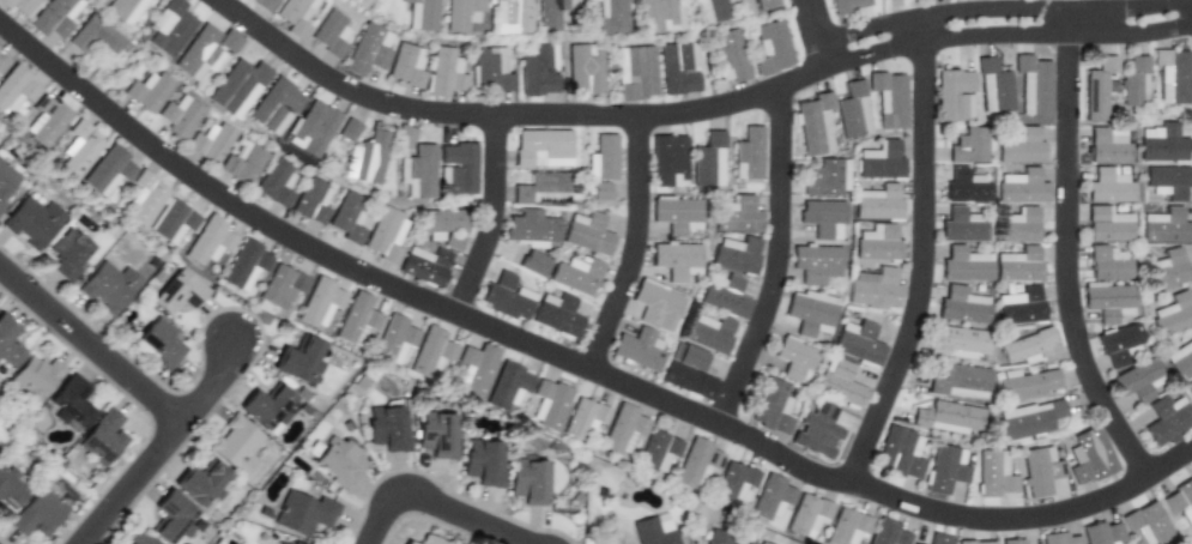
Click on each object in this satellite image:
building: (99, 0)
building: (374, 0)
road: (1100, 1)
building: (357, 2)
building: (262, 4)
building: (18, 5)
building: (754, 5)
building: (847, 5)
road: (984, 5)
building: (123, 10)
building: (707, 10)
building: (458, 13)
building: (417, 14)
building: (550, 14)
building: (294, 16)
building: (508, 16)
building: (607, 16)
building: (658, 16)
building: (54, 17)
building: (169, 26)
road: (817, 26)
building: (328, 34)
building: (95, 36)
road: (1008, 41)
building: (770, 47)
building: (365, 49)
building: (204, 52)
building: (2, 61)
building: (405, 65)
building: (677, 67)
building: (489, 69)
building: (536, 69)
building: (583, 69)
building: (443, 72)
building: (634, 72)
building: (1172, 75)
building: (1134, 80)
building: (1034, 84)
building: (236, 86)
building: (993, 86)
building: (1099, 87)
building: (16, 89)
building: (145, 90)
building: (955, 95)
building: (889, 99)
building: (274, 105)
building: (853, 111)
road: (515, 115)
building: (177, 116)
building: (44, 120)
building: (815, 123)
building: (310, 128)
building: (346, 129)
building: (403, 135)
building: (210, 141)
building: (1162, 143)
building: (1107, 145)
building: (968, 146)
building: (1021, 146)
building: (541, 147)
building: (78, 149)
building: (749, 153)
building: (364, 158)
building: (601, 158)
building: (667, 161)
building: (708, 161)
building: (881, 161)
building: (242, 163)
building: (458, 167)
building: (105, 170)
building: (827, 177)
building: (6, 180)
building: (1168, 181)
building: (274, 182)
building: (966, 186)
building: (1108, 186)
building: (1022, 187)
building: (540, 188)
building: (599, 191)
building: (144, 198)
building: (310, 201)
building: (877, 203)
building: (736, 213)
building: (676, 214)
building: (347, 217)
road: (491, 217)
building: (823, 217)
building: (32, 220)
building: (173, 220)
building: (1107, 224)
building: (961, 225)
building: (1018, 225)
building: (443, 226)
building: (1166, 226)
building: (530, 228)
building: (586, 232)
building: (385, 235)
building: (208, 242)
building: (877, 243)
road: (635, 246)
road: (1069, 249)
road: (925, 253)
building: (68, 254)
building: (736, 254)
building: (674, 260)
building: (533, 262)
road: (777, 262)
building: (816, 262)
building: (1107, 262)
building: (244, 265)
building: (424, 265)
building: (964, 265)
building: (1018, 265)
street lamp: (30, 266)
building: (1167, 268)
building: (575, 274)
building: (109, 286)
building: (280, 286)
building: (875, 289)
building: (177, 292)
building: (725, 295)
building: (506, 297)
building: (1107, 301)
building: (320, 302)
building: (655, 304)
building: (961, 306)
building: (1019, 306)
building: (811, 313)
building: (1173, 313)
building: (556, 314)
building: (356, 319)
building: (709, 332)
building: (394, 339)
building: (161, 341)
building: (956, 341)
building: (8, 343)
building: (858, 343)
road: (92, 344)
building: (1027, 344)
building: (1118, 344)
building: (637, 349)
building: (430, 352)
building: (795, 359)
building: (1180, 359)
building: (299, 361)
road: (571, 361)
building: (474, 368)
building: (688, 371)
building: (36, 376)
building: (1137, 380)
building: (839, 381)
building: (960, 381)
building: (1027, 383)
building: (507, 386)
building: (1188, 387)
street lamp: (120, 393)
building: (69, 403)
building: (547, 404)
building: (267, 406)
building: (772, 406)
building: (948, 417)
building: (582, 418)
building: (1029, 418)
building: (1167, 418)
building: (387, 427)
building: (622, 429)
building: (817, 430)
building: (436, 434)
building: (103, 437)
street lamp: (199, 439)
building: (236, 445)
road: (165, 446)
building: (656, 451)
building: (900, 453)
building: (1089, 455)
building: (337, 461)
building: (483, 461)
building: (696, 464)
building: (945, 469)
building: (1039, 470)
building: (994, 473)
building: (527, 480)
building: (734, 480)
building: (200, 482)
building: (56, 485)
building: (11, 488)
building: (598, 491)
building: (772, 497)
street lamp: (96, 498)
building: (1180, 501)
road: (438, 503)
building: (38, 513)
building: (303, 513)
street lamp: (508, 514)
building: (807, 515)
building: (173, 518)
building: (1146, 522)
street lamp: (403, 524)
building: (847, 527)
building: (651, 532)
building: (888, 532)
building: (1102, 533)
building: (715, 537)
building: (140, 538)
building: (939, 538)
building: (1059, 538)
building: (429, 540)
building: (615, 540)
building: (975, 542)
building: (1012, 542)
building: (284, 543)
building: (409, 543)
building: (760, 543)
building: (912, 543)

